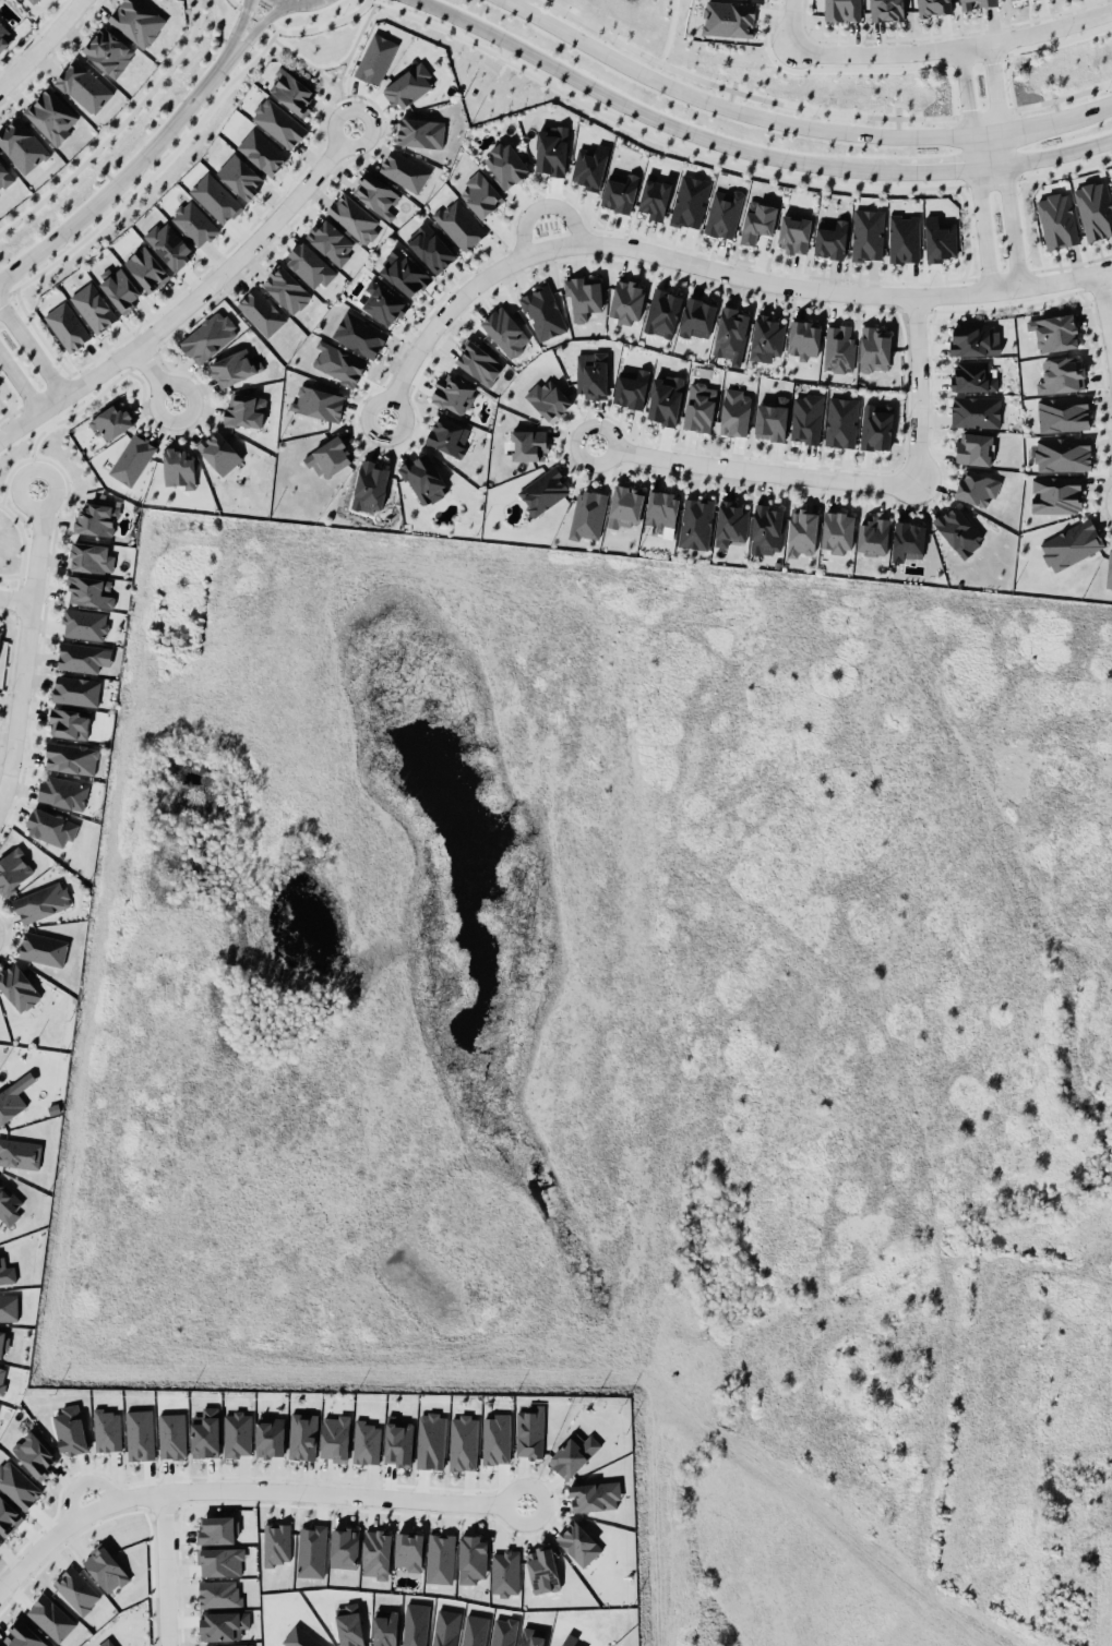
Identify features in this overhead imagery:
building: (32, 1)
road: (236, 2)
building: (975, 2)
building: (933, 7)
building: (842, 10)
building: (890, 11)
road: (256, 15)
park: (643, 16)
building: (136, 21)
building: (728, 21)
road: (790, 23)
road: (258, 25)
road: (324, 25)
road: (238, 27)
road: (660, 28)
road: (929, 35)
building: (4, 36)
road: (41, 44)
road: (952, 44)
road: (1031, 47)
building: (108, 50)
building: (375, 58)
road: (967, 63)
road: (839, 69)
building: (84, 85)
building: (408, 85)
building: (292, 92)
road: (742, 92)
road: (1062, 96)
road: (1105, 103)
road: (727, 107)
road: (984, 110)
road: (645, 113)
building: (51, 115)
road: (1036, 121)
building: (278, 122)
road: (112, 123)
building: (420, 132)
road: (649, 132)
road: (1015, 141)
building: (22, 144)
road: (962, 147)
building: (262, 151)
road: (1059, 154)
building: (548, 156)
road: (1004, 163)
building: (502, 167)
building: (585, 167)
road: (975, 167)
road: (1065, 167)
building: (404, 170)
road: (948, 170)
building: (4, 176)
building: (239, 176)
road: (122, 177)
road: (992, 178)
building: (374, 188)
building: (1111, 190)
building: (615, 195)
building: (215, 197)
building: (477, 197)
building: (651, 202)
building: (685, 204)
road: (541, 205)
building: (1090, 207)
building: (717, 215)
building: (1052, 216)
building: (354, 217)
building: (194, 223)
building: (756, 225)
building: (455, 227)
road: (968, 231)
building: (792, 235)
building: (863, 236)
road: (1110, 237)
road: (665, 240)
building: (934, 240)
building: (331, 241)
building: (827, 241)
building: (898, 241)
building: (168, 244)
building: (428, 252)
road: (1074, 257)
road: (1072, 263)
building: (309, 265)
road: (708, 267)
building: (146, 268)
road: (1004, 271)
building: (402, 275)
building: (116, 284)
road: (1035, 284)
road: (1093, 285)
building: (286, 288)
road: (962, 292)
building: (579, 298)
road: (189, 301)
building: (91, 303)
building: (623, 303)
building: (376, 304)
road: (1104, 308)
road: (916, 310)
building: (261, 311)
building: (657, 314)
building: (536, 316)
building: (694, 320)
road: (1110, 322)
road: (1081, 323)
building: (67, 326)
building: (1049, 327)
building: (354, 334)
building: (499, 334)
building: (726, 335)
building: (207, 336)
building: (966, 340)
building: (761, 341)
building: (801, 341)
road: (32, 348)
building: (869, 350)
building: (832, 351)
building: (331, 363)
building: (234, 367)
building: (475, 367)
building: (1056, 370)
road: (1095, 373)
road: (154, 374)
building: (586, 376)
building: (967, 379)
road: (20, 383)
building: (626, 389)
road: (919, 389)
building: (447, 396)
building: (542, 401)
building: (662, 403)
road: (1108, 404)
road: (1098, 405)
building: (314, 407)
building: (694, 409)
building: (246, 410)
building: (1061, 410)
building: (970, 413)
building: (730, 414)
building: (801, 420)
building: (111, 421)
building: (765, 421)
building: (836, 424)
building: (871, 430)
building: (441, 436)
road: (1099, 444)
building: (526, 446)
building: (1057, 450)
building: (219, 452)
building: (970, 453)
building: (132, 456)
building: (325, 460)
road: (836, 464)
building: (178, 467)
road: (758, 470)
building: (418, 478)
road: (1095, 484)
building: (366, 489)
building: (971, 490)
building: (537, 492)
building: (1053, 492)
building: (621, 509)
building: (659, 513)
road: (1102, 514)
building: (95, 515)
building: (581, 516)
building: (690, 525)
building: (728, 525)
building: (763, 530)
building: (800, 531)
building: (955, 532)
building: (837, 534)
building: (869, 538)
building: (1069, 539)
building: (905, 542)
building: (89, 557)
building: (1105, 567)
building: (89, 590)
road: (16, 598)
building: (84, 623)
building: (0, 632)
road: (26, 646)
building: (81, 656)
building: (76, 689)
building: (69, 722)
building: (71, 757)
building: (63, 792)
building: (51, 827)
building: (13, 869)
building: (41, 901)
building: (41, 946)
building: (19, 983)
building: (10, 1098)
building: (19, 1151)
building: (7, 1272)
building: (8, 1303)
building: (2, 1342)
building: (2, 1380)
road: (964, 1386)
road: (683, 1414)
building: (70, 1429)
building: (107, 1429)
building: (236, 1430)
building: (529, 1430)
building: (205, 1432)
building: (334, 1432)
building: (140, 1433)
building: (172, 1434)
building: (302, 1435)
building: (270, 1437)
building: (495, 1438)
building: (431, 1440)
building: (398, 1441)
building: (366, 1442)
building: (463, 1442)
building: (32, 1449)
building: (574, 1454)
building: (16, 1482)
road: (504, 1487)
road: (140, 1494)
building: (595, 1495)
road: (328, 1498)
building: (8, 1514)
building: (215, 1525)
building: (0, 1539)
building: (274, 1539)
building: (578, 1541)
building: (344, 1547)
building: (311, 1550)
building: (408, 1550)
building: (375, 1553)
building: (440, 1558)
building: (473, 1558)
building: (220, 1560)
building: (539, 1566)
building: (106, 1569)
building: (504, 1572)
building: (76, 1589)
building: (217, 1590)
building: (49, 1614)
building: (223, 1624)
building: (349, 1624)
building: (415, 1624)
building: (385, 1627)
building: (446, 1627)
building: (475, 1630)
building: (503, 1631)
road: (1110, 1632)
building: (23, 1635)
building: (531, 1636)
building: (300, 1637)
building: (570, 1639)
building: (107, 1641)
building: (227, 1643)
building: (0, 1645)

